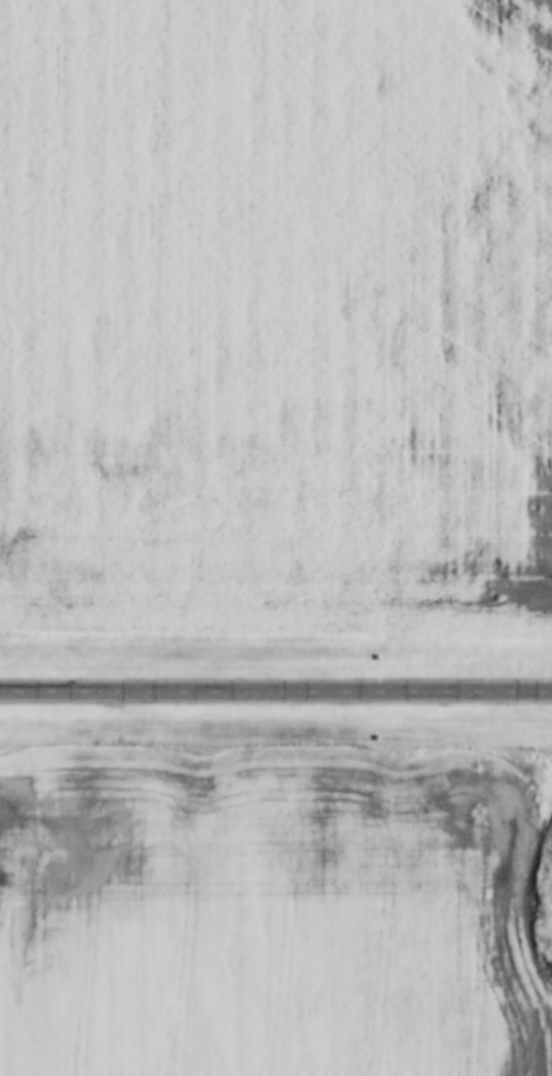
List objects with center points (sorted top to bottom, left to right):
road: (275, 689)

